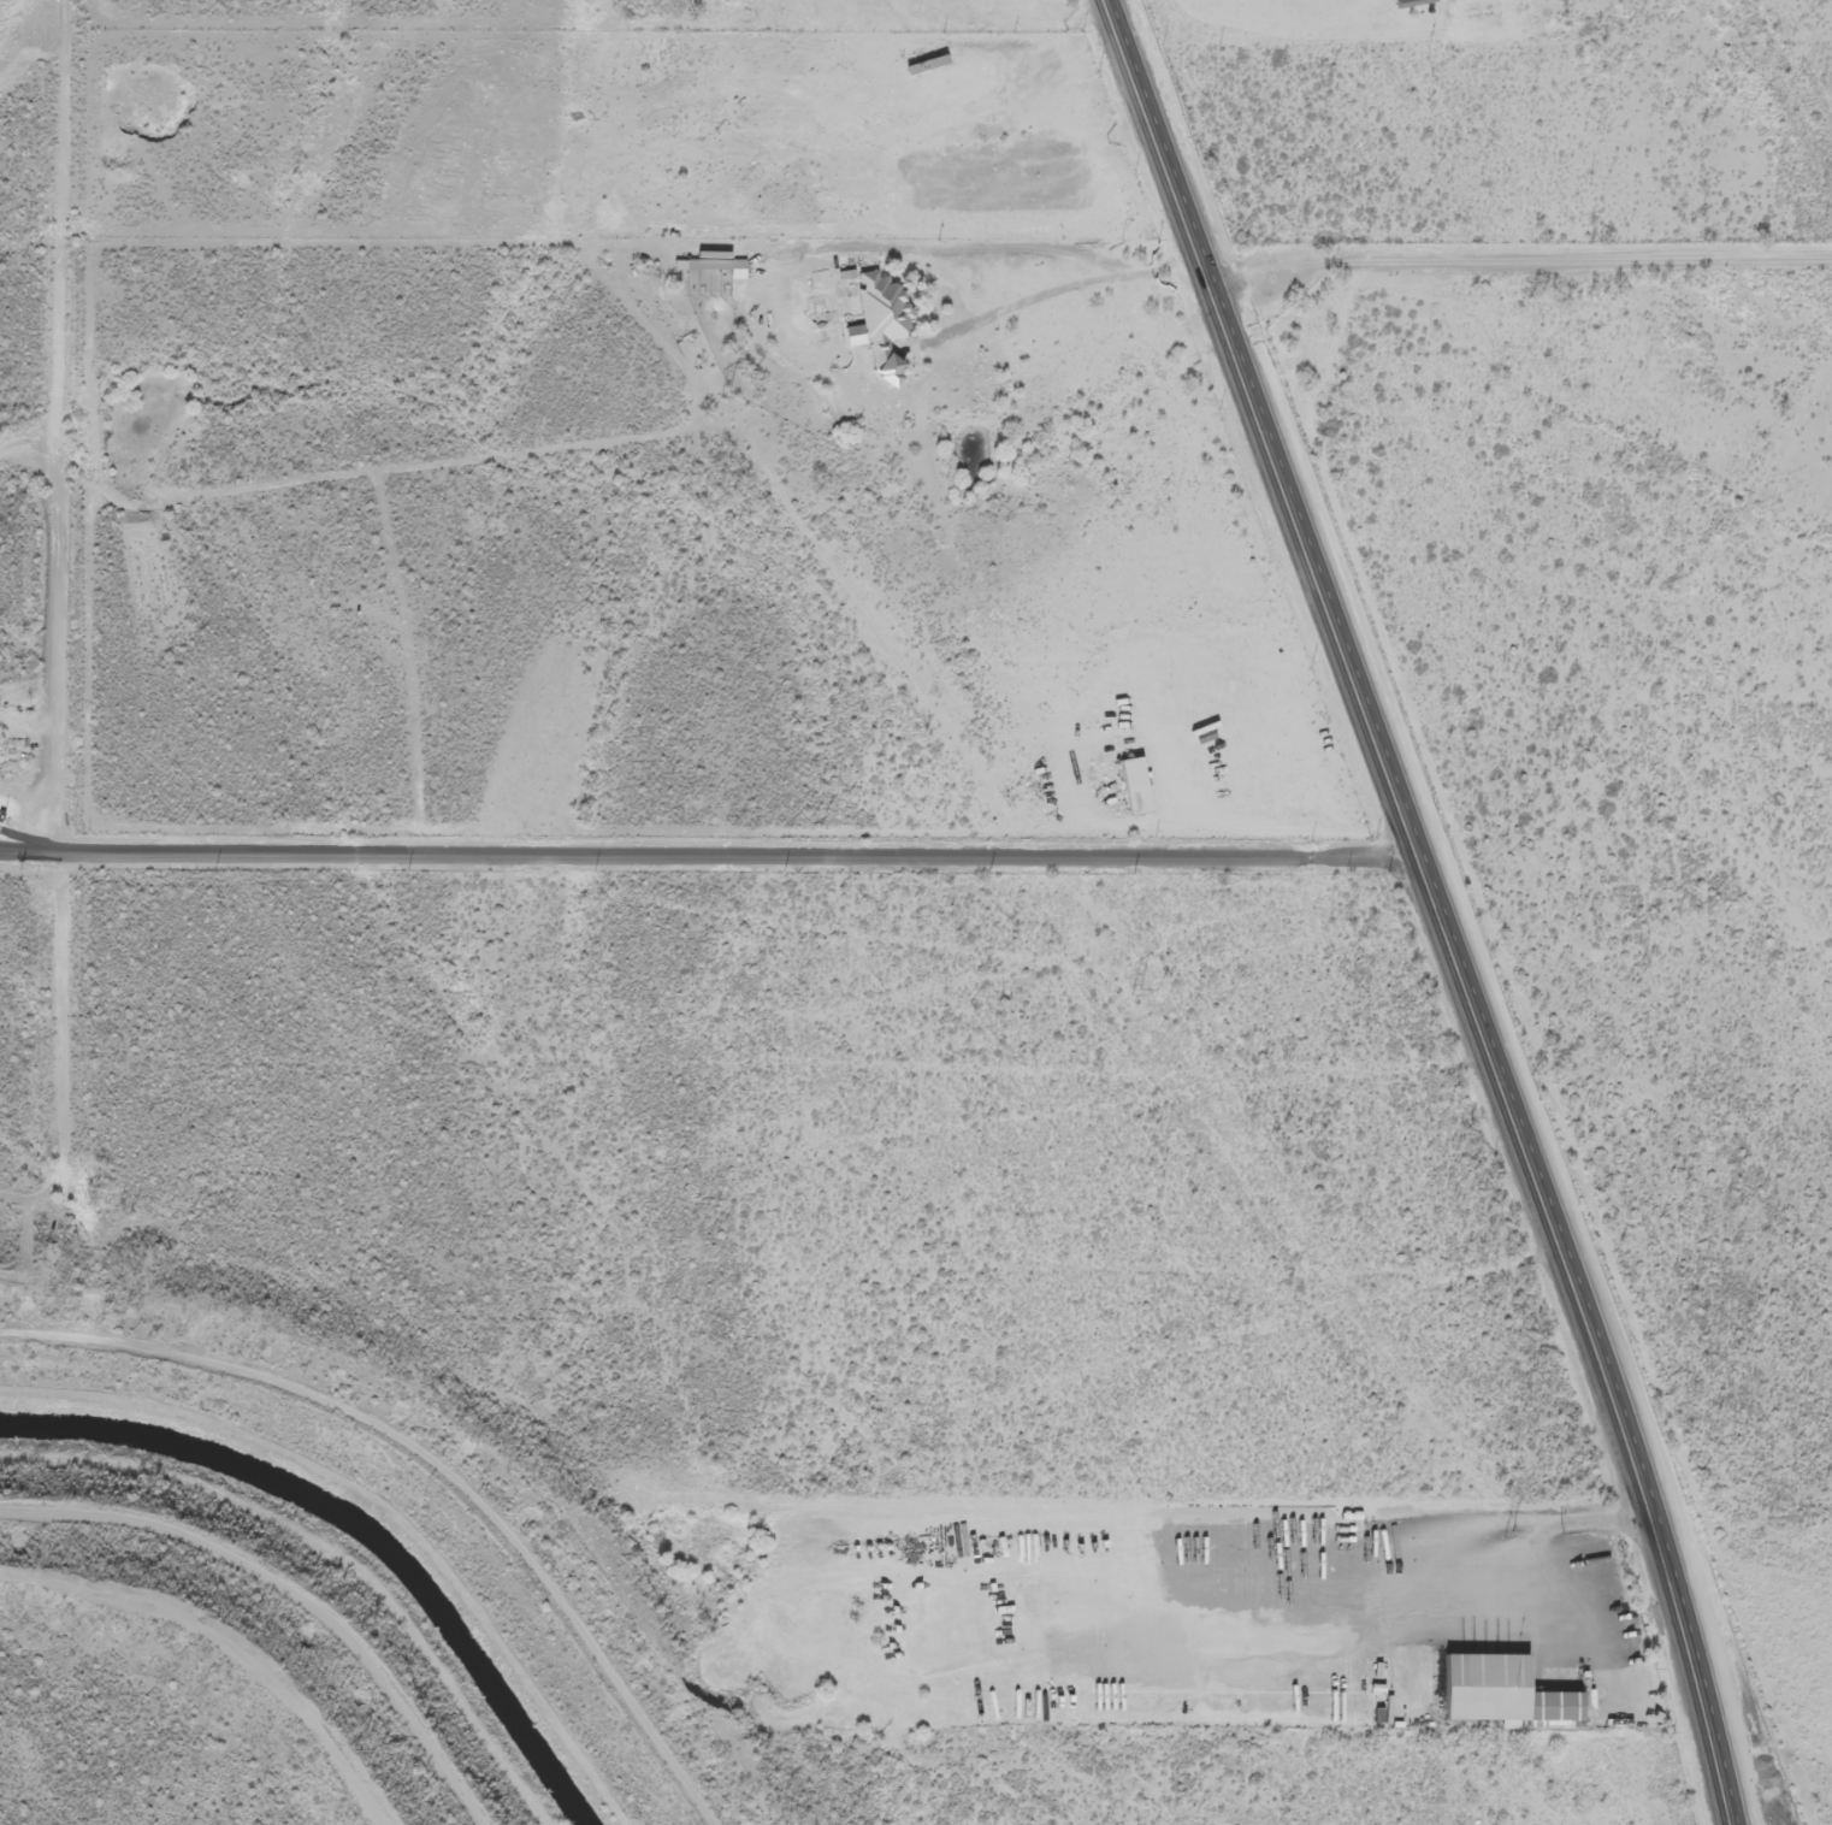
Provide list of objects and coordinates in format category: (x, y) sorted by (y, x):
road: (1739, 10)
building: (701, 268)
road: (1530, 327)
building: (879, 330)
power tower: (725, 395)
road: (1650, 746)
building: (1128, 789)
road: (1443, 903)
power tower: (1145, 992)
road: (395, 1247)
road: (637, 1274)
power tower: (1514, 1535)
building: (1547, 1712)

